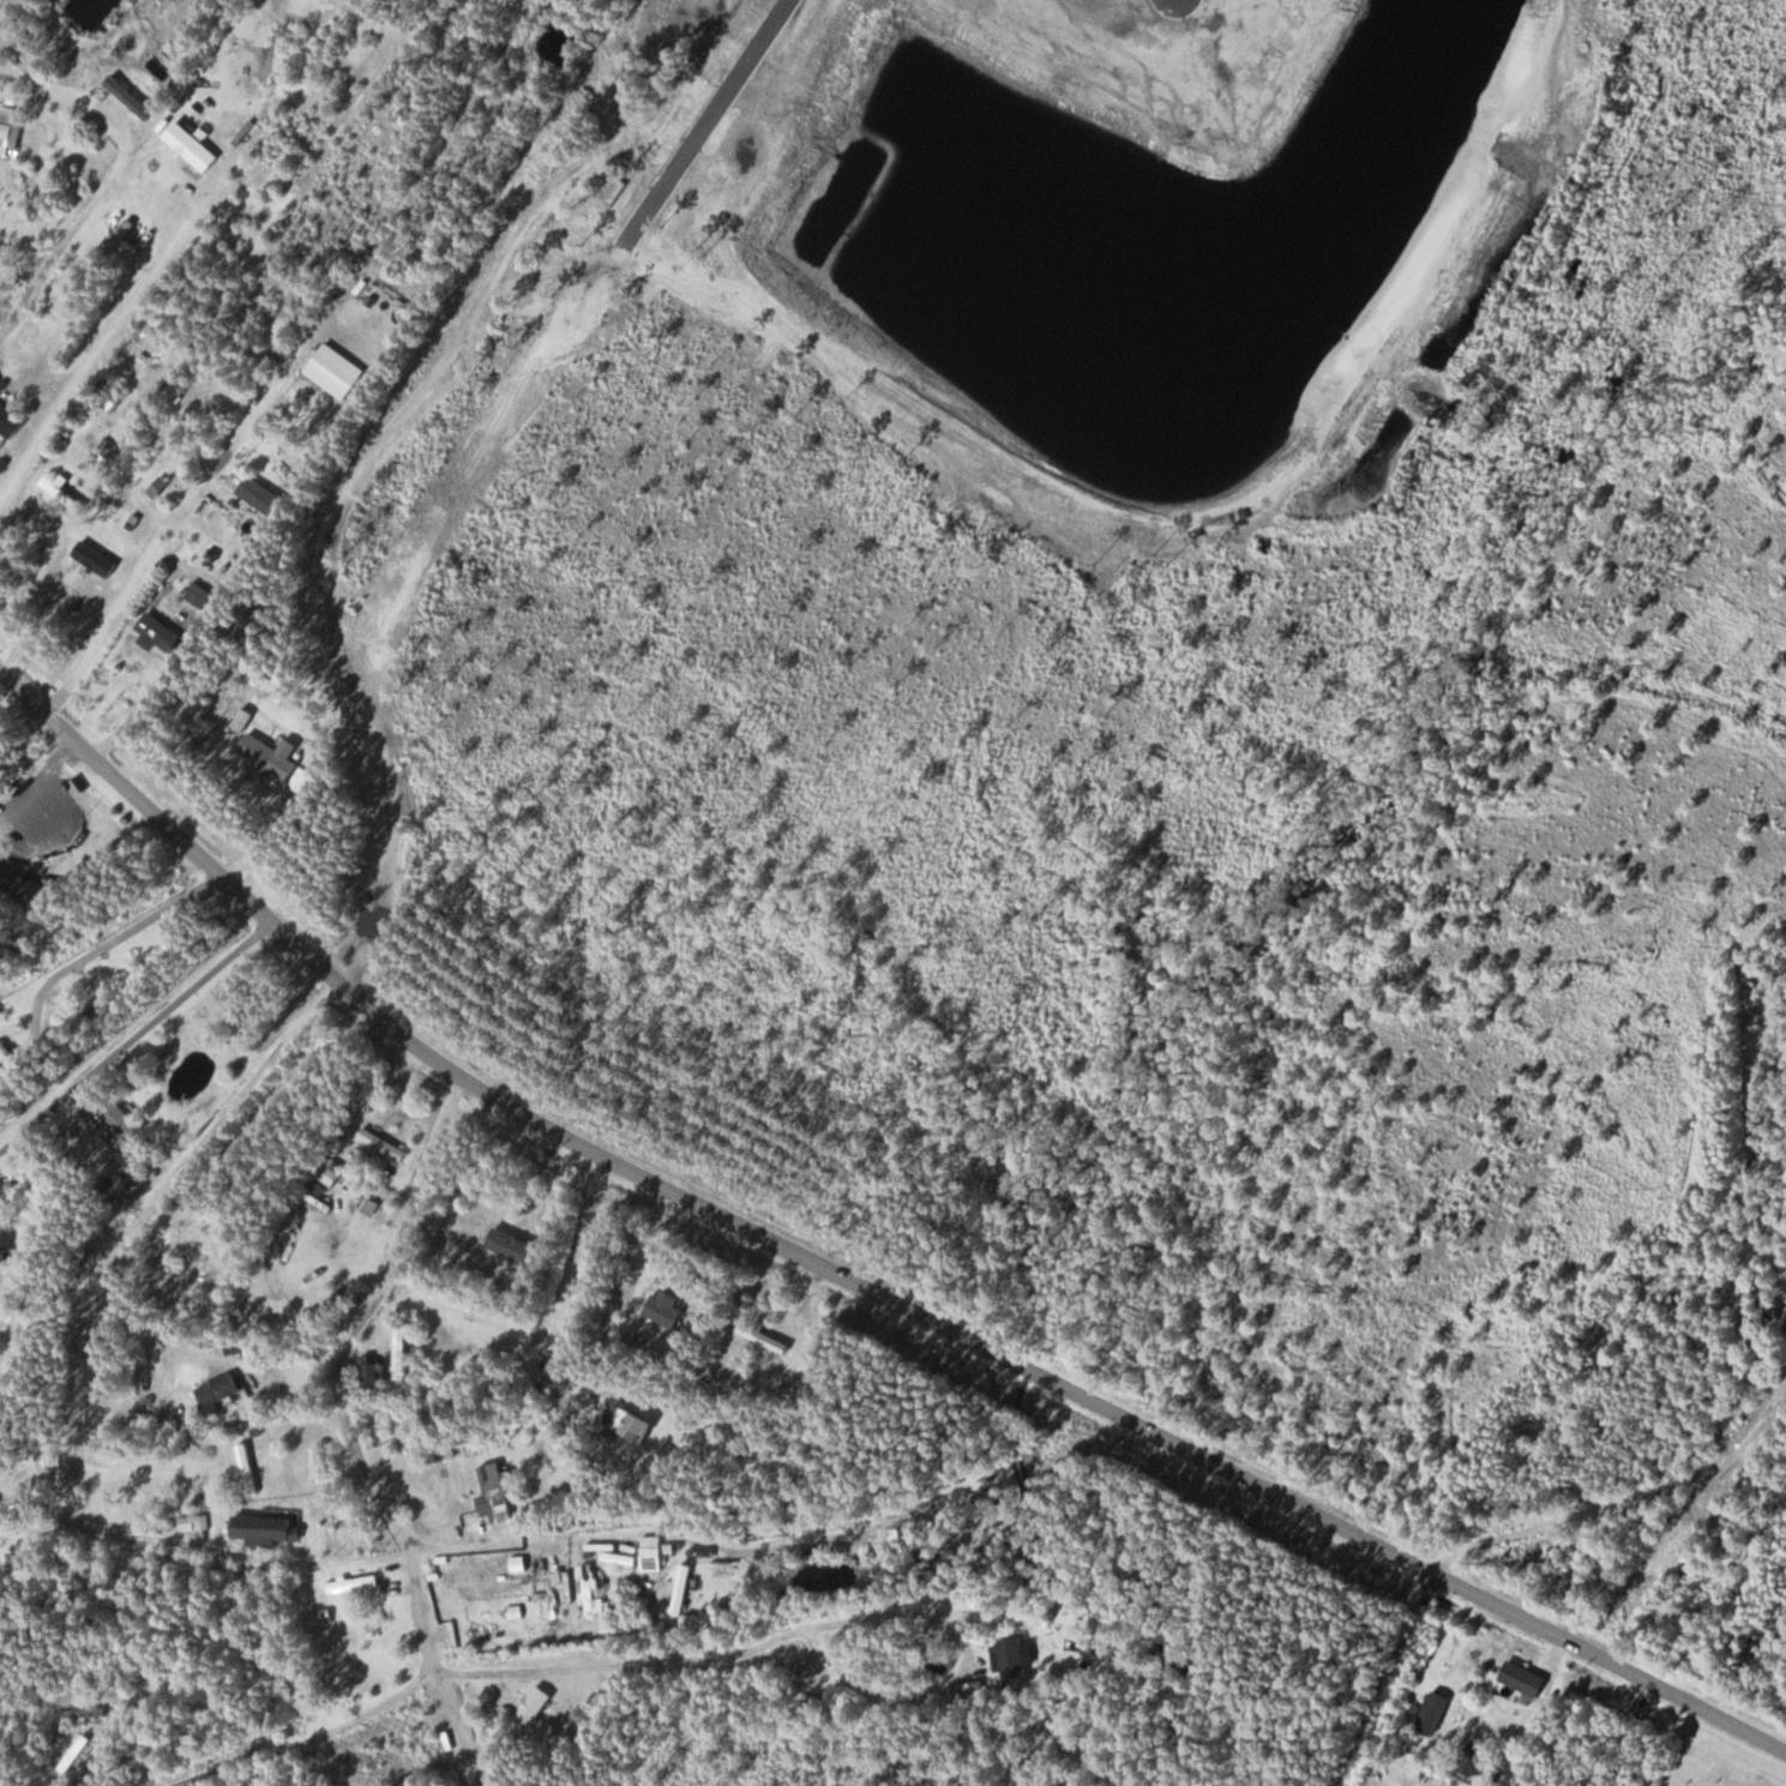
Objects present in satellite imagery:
building: (746, 162)
building: (337, 371)
building: (10, 420)
building: (59, 488)
building: (263, 495)
road: (157, 546)
building: (98, 558)
building: (163, 636)
building: (275, 759)
building: (2, 1064)
building: (125, 1123)
building: (378, 1141)
building: (331, 1172)
building: (199, 1264)
road: (842, 1277)
building: (667, 1310)
building: (765, 1339)
building: (403, 1353)
building: (373, 1373)
building: (222, 1390)
building: (627, 1426)
road: (354, 1430)
building: (249, 1469)
building: (497, 1493)
road: (1565, 1513)
building: (196, 1523)
building: (269, 1529)
building: (654, 1550)
building: (355, 1588)
building: (593, 1589)
building: (684, 1589)
building: (1527, 1678)
road: (1381, 1679)
building: (535, 1707)
building: (1436, 1714)
road: (216, 1719)

